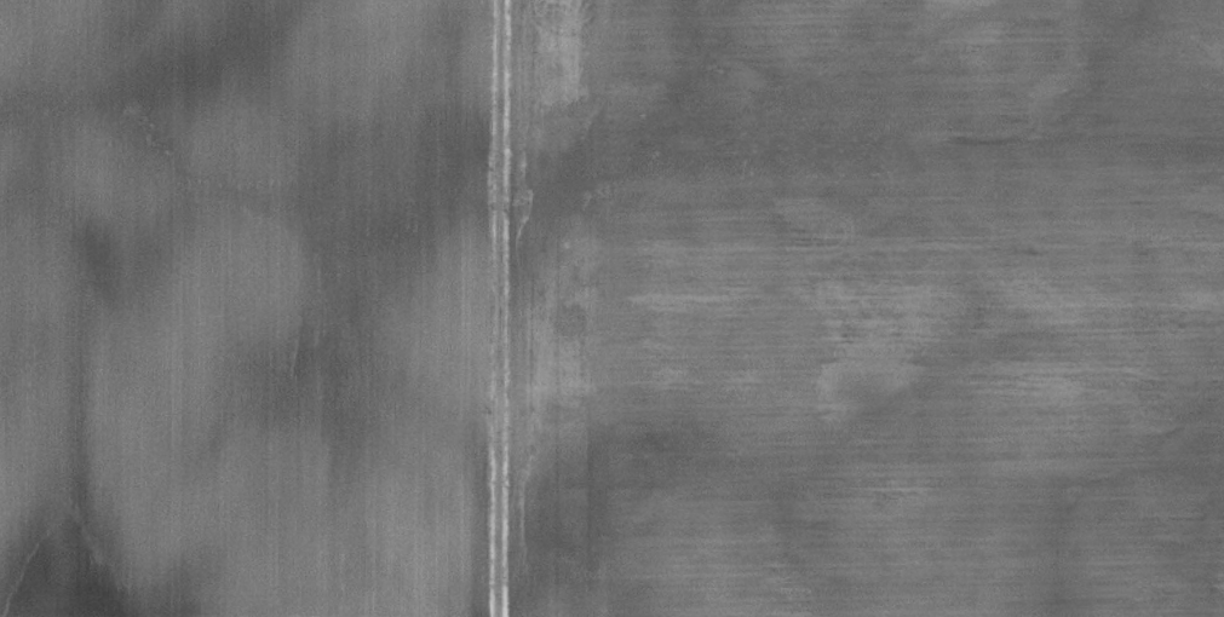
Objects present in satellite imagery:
road: (493, 307)

